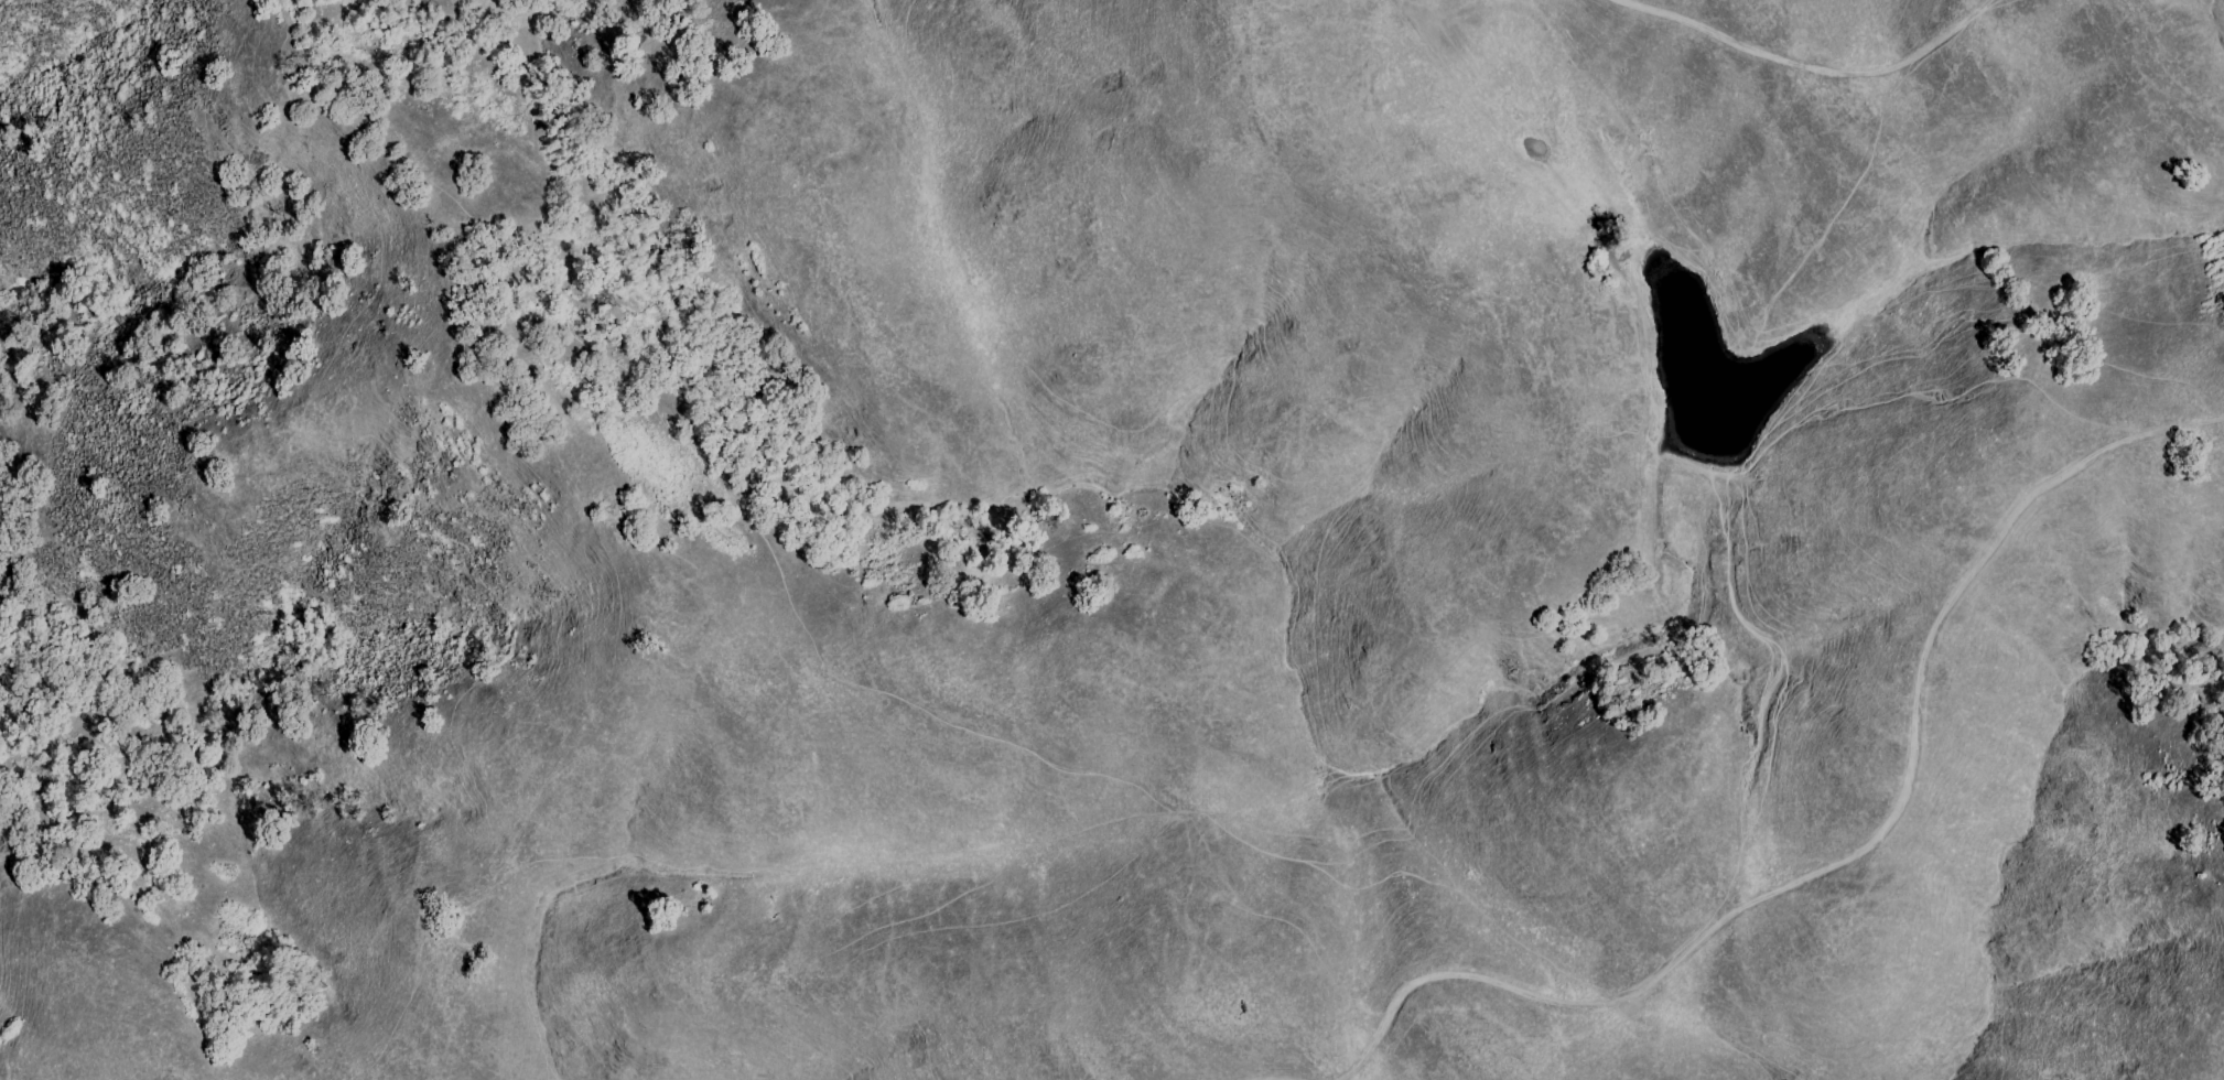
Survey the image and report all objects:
road: (1813, 68)
road: (1856, 853)

